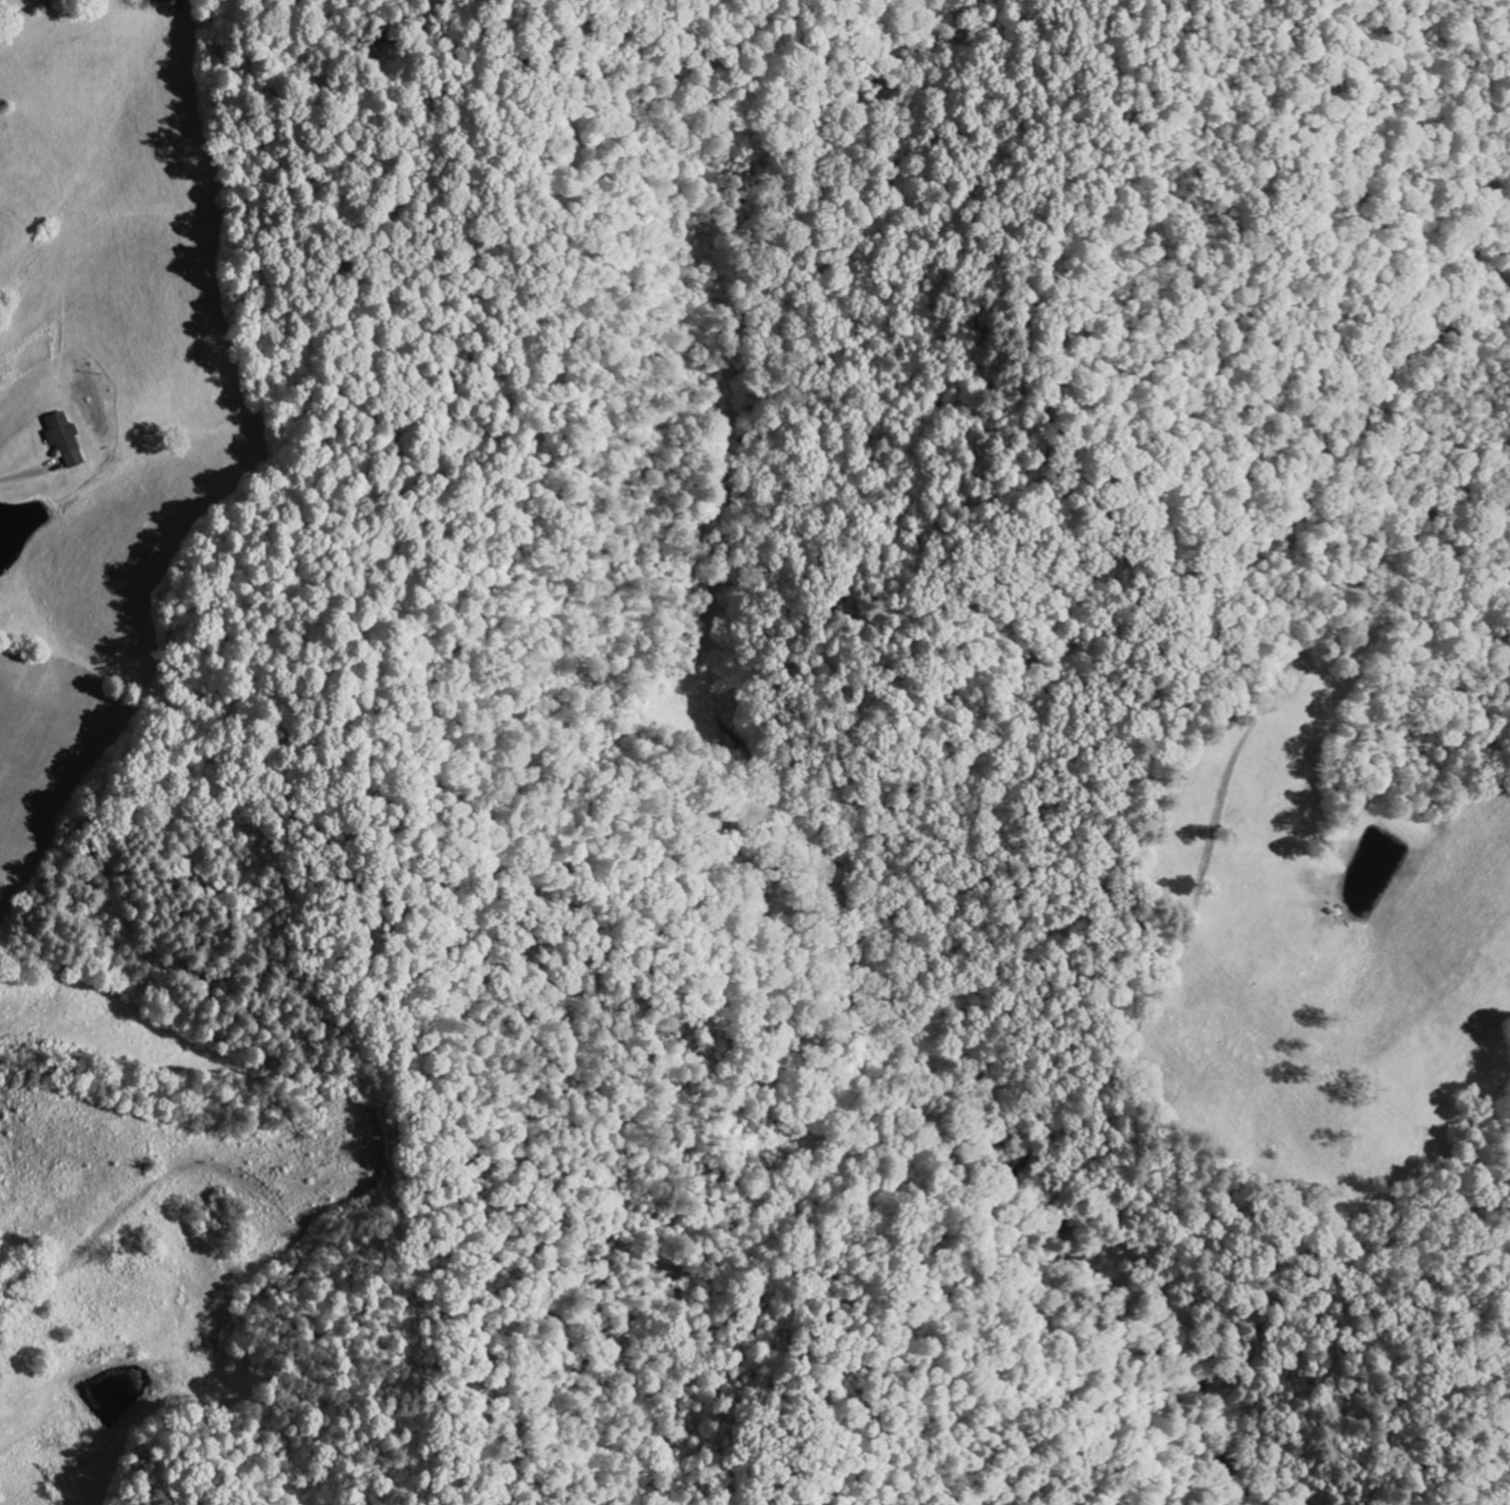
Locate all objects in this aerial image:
building: (65, 440)

